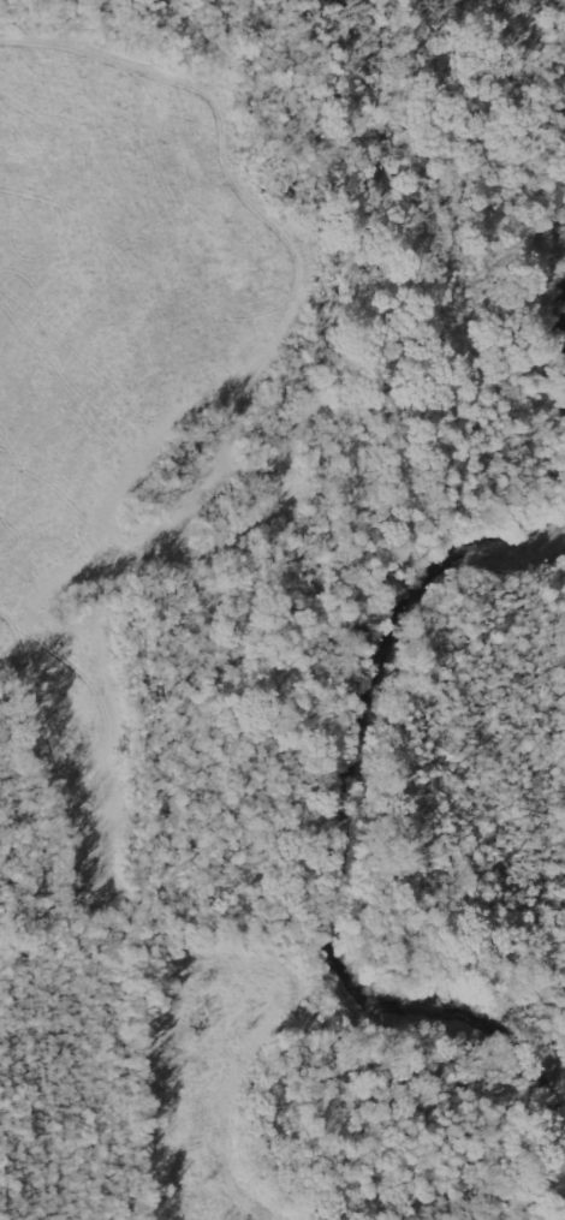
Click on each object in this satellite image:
road: (552, 0)

